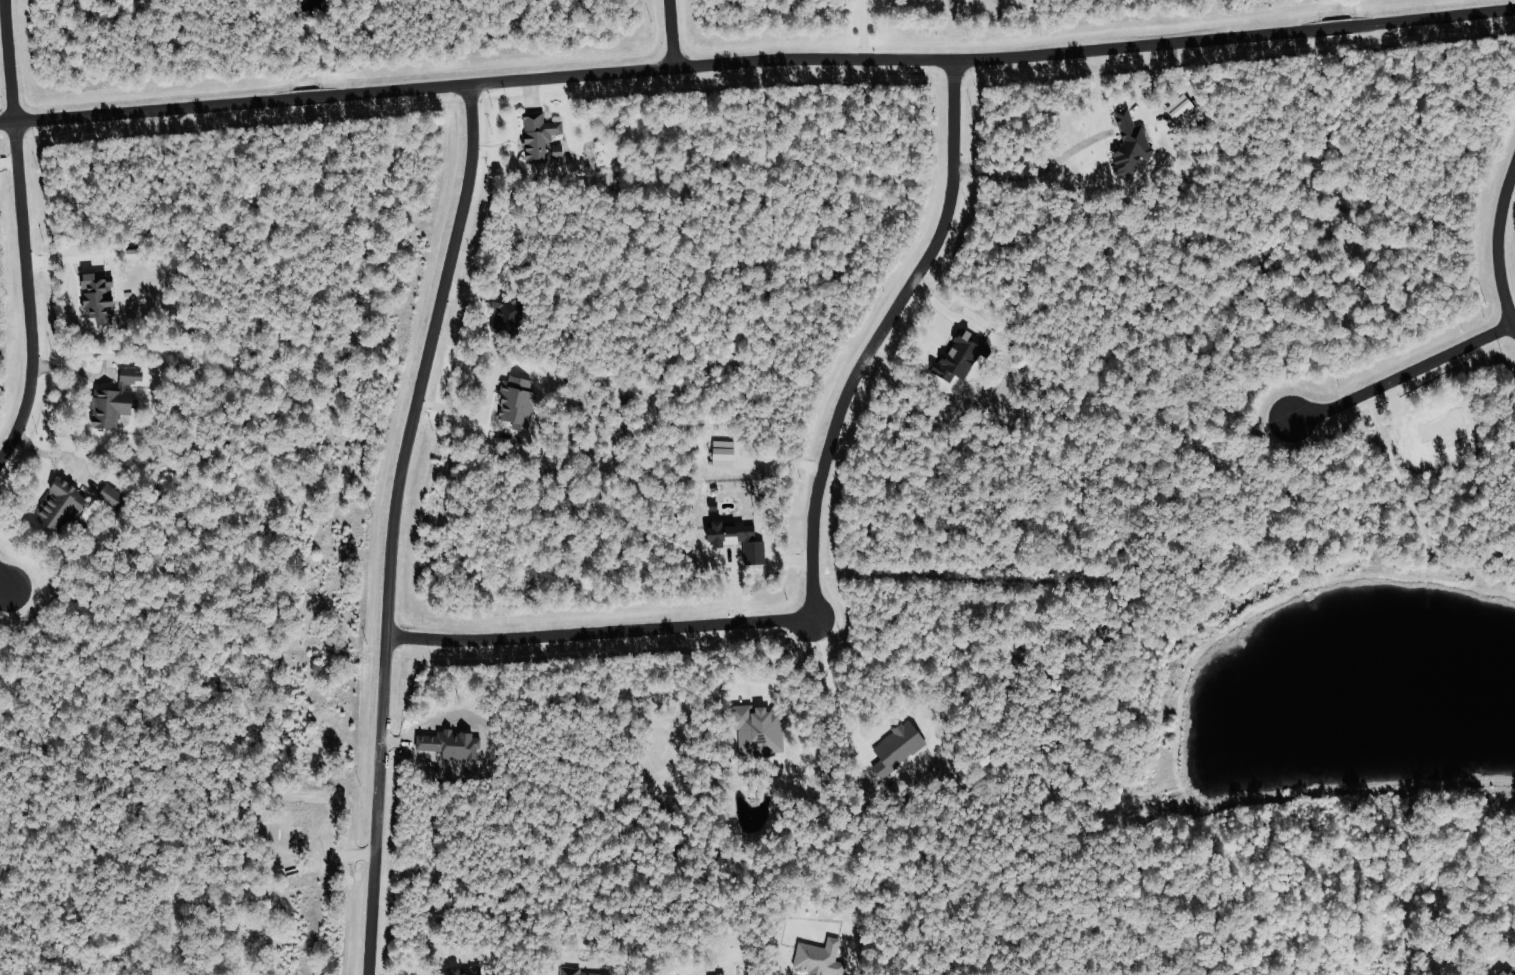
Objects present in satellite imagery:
road: (868, 30)
road: (670, 33)
road: (757, 61)
building: (1182, 110)
building: (540, 134)
building: (1131, 143)
building: (558, 151)
road: (1032, 178)
road: (21, 232)
road: (1496, 251)
building: (98, 297)
road: (1402, 376)
building: (115, 400)
building: (724, 454)
road: (52, 456)
building: (112, 496)
building: (60, 506)
road: (393, 525)
road: (812, 534)
building: (739, 539)
road: (10, 574)
road: (824, 685)
road: (765, 686)
building: (753, 729)
building: (900, 745)
building: (819, 958)
building: (460, 971)
building: (574, 971)
building: (1506, 972)

